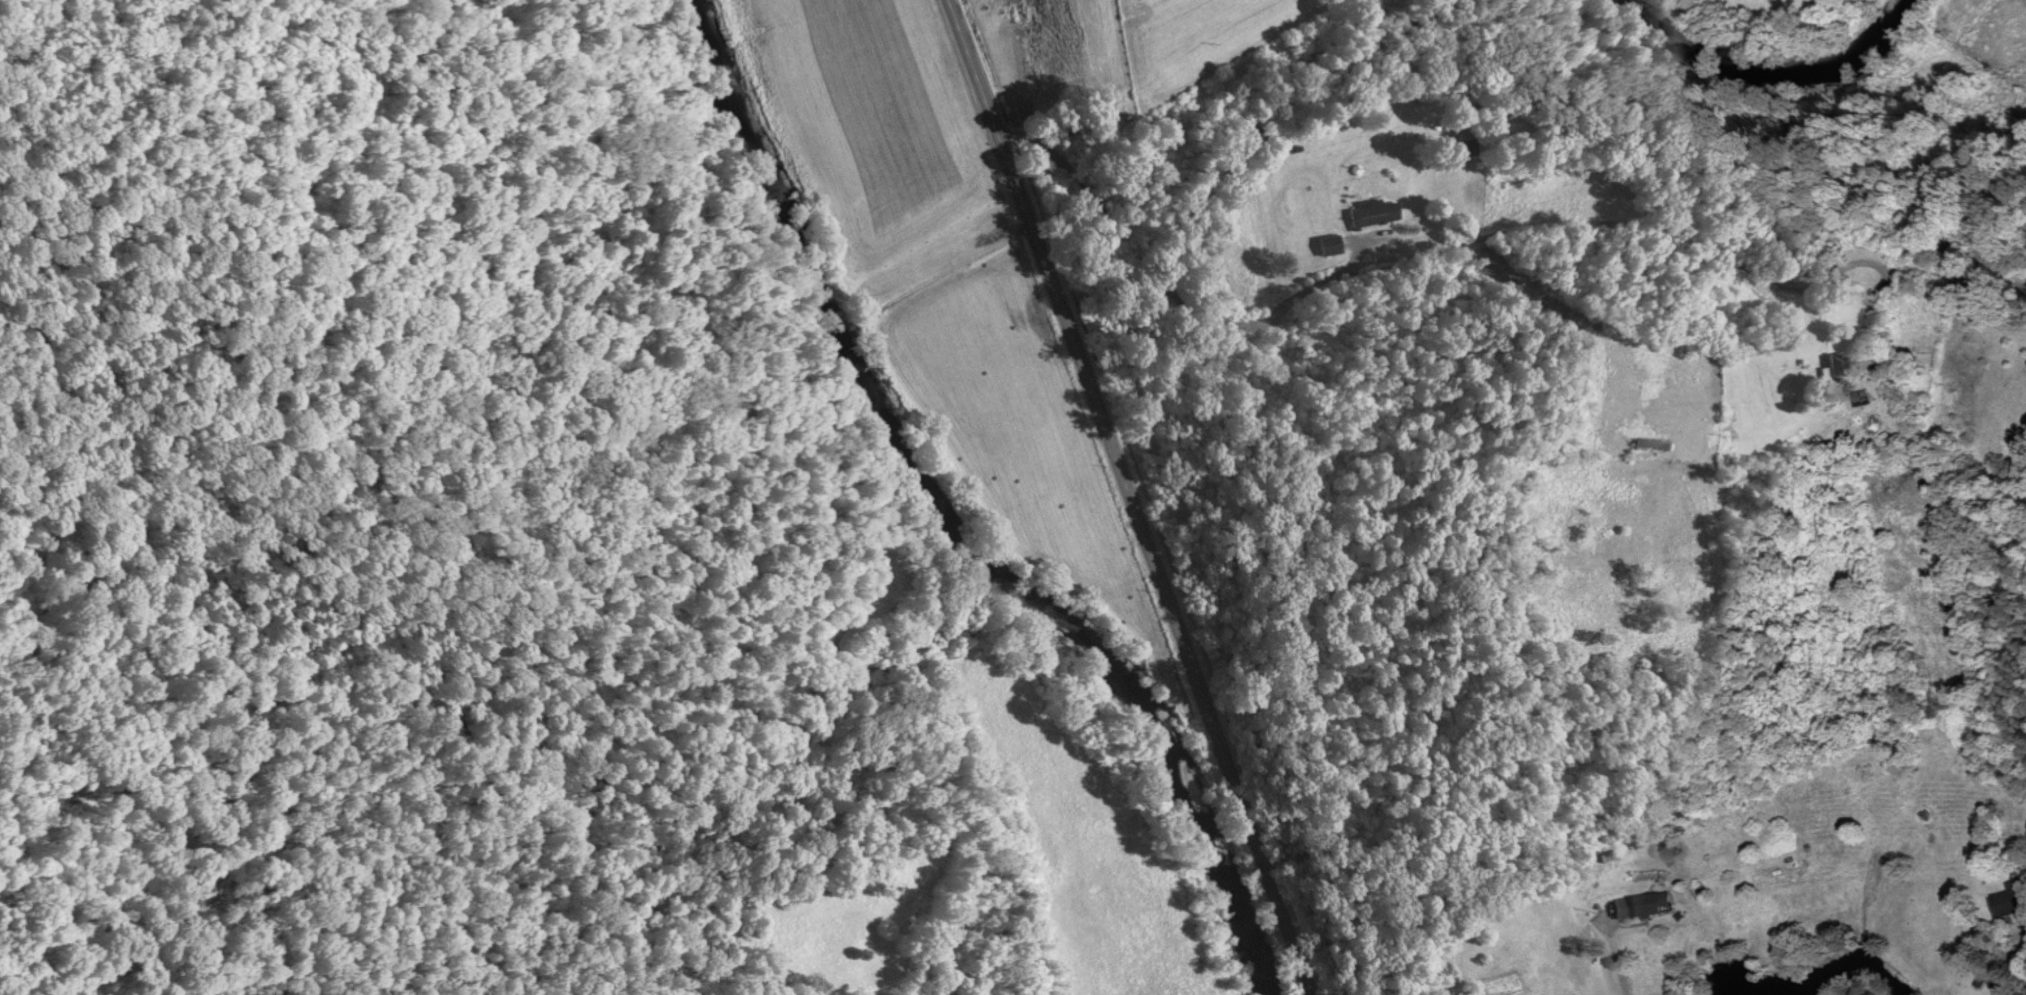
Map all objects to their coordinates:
river: (1763, 65)
building: (1014, 120)
building: (1468, 146)
building: (1373, 216)
road: (1454, 255)
building: (1842, 368)
building: (1864, 399)
building: (1652, 447)
road: (1128, 496)
river: (958, 519)
building: (2013, 902)
building: (1644, 908)

